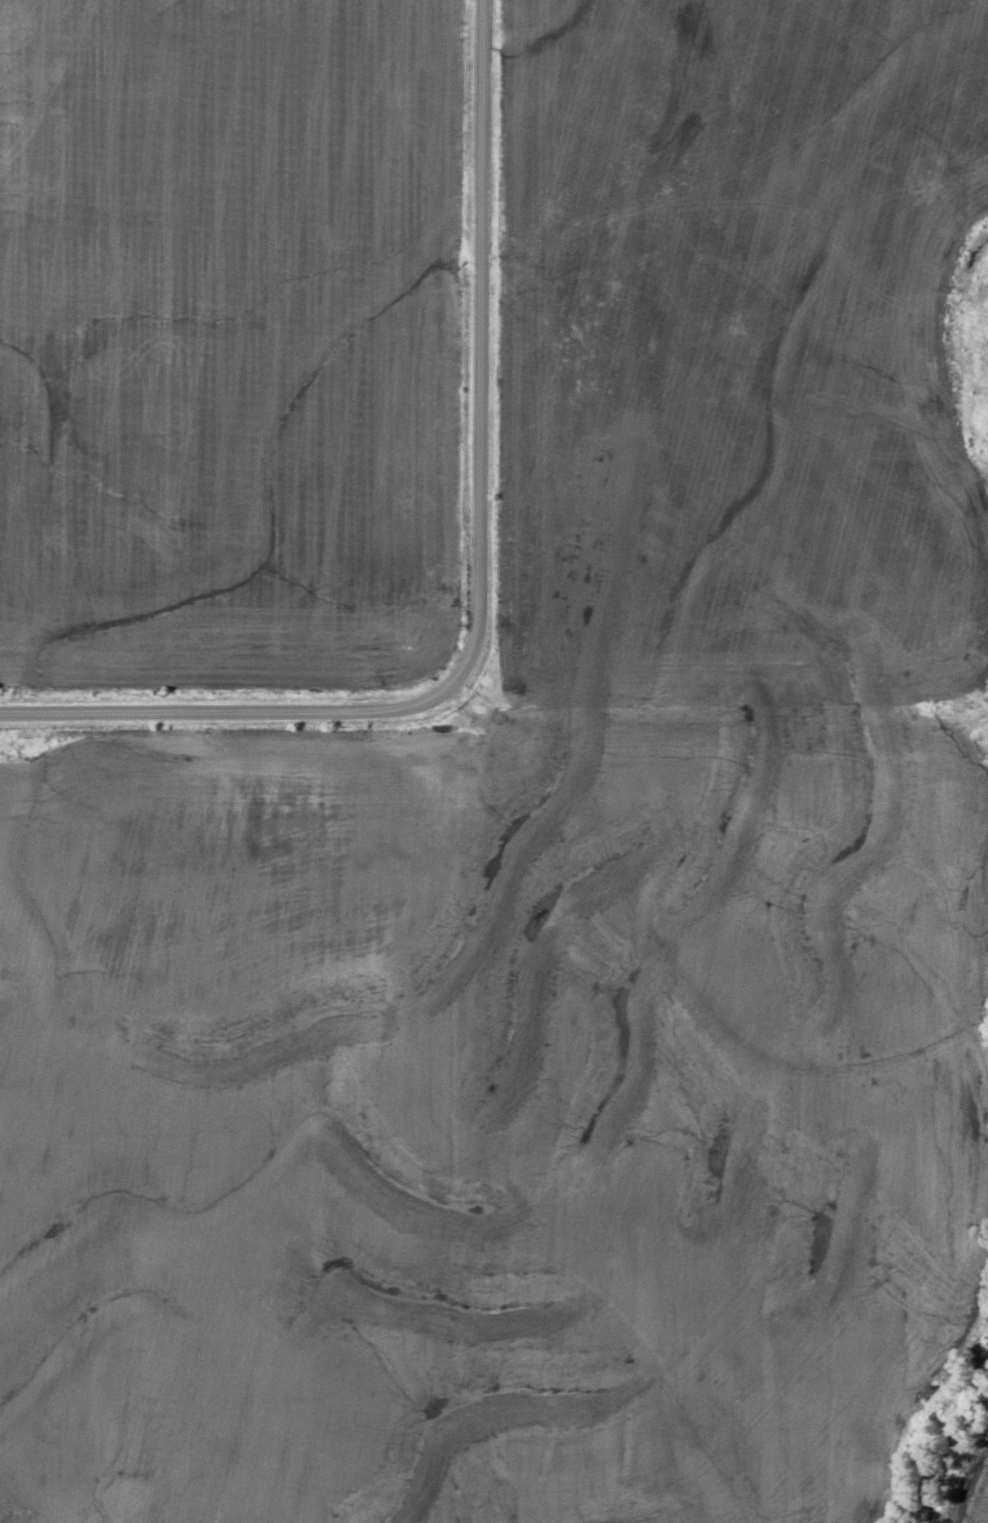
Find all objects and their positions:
road: (449, 554)

